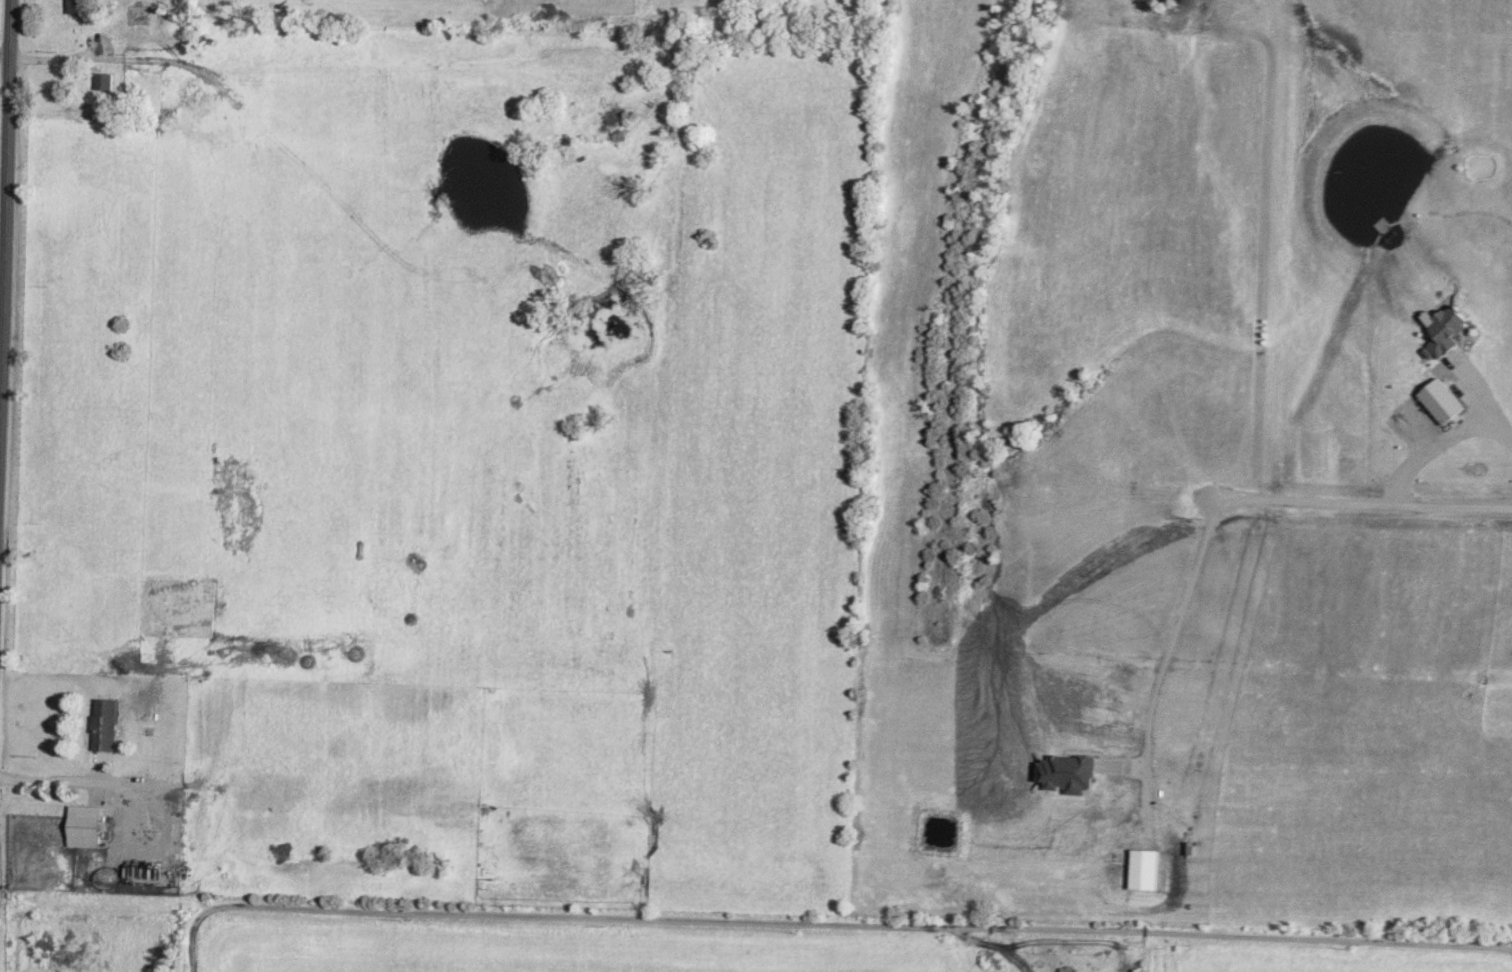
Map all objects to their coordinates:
building: (82, 6)
building: (140, 19)
building: (106, 81)
road: (6, 196)
building: (1443, 329)
road: (1438, 442)
road: (1348, 508)
road: (1173, 633)
building: (106, 724)
road: (51, 778)
building: (86, 831)
road: (826, 919)
road: (993, 941)

